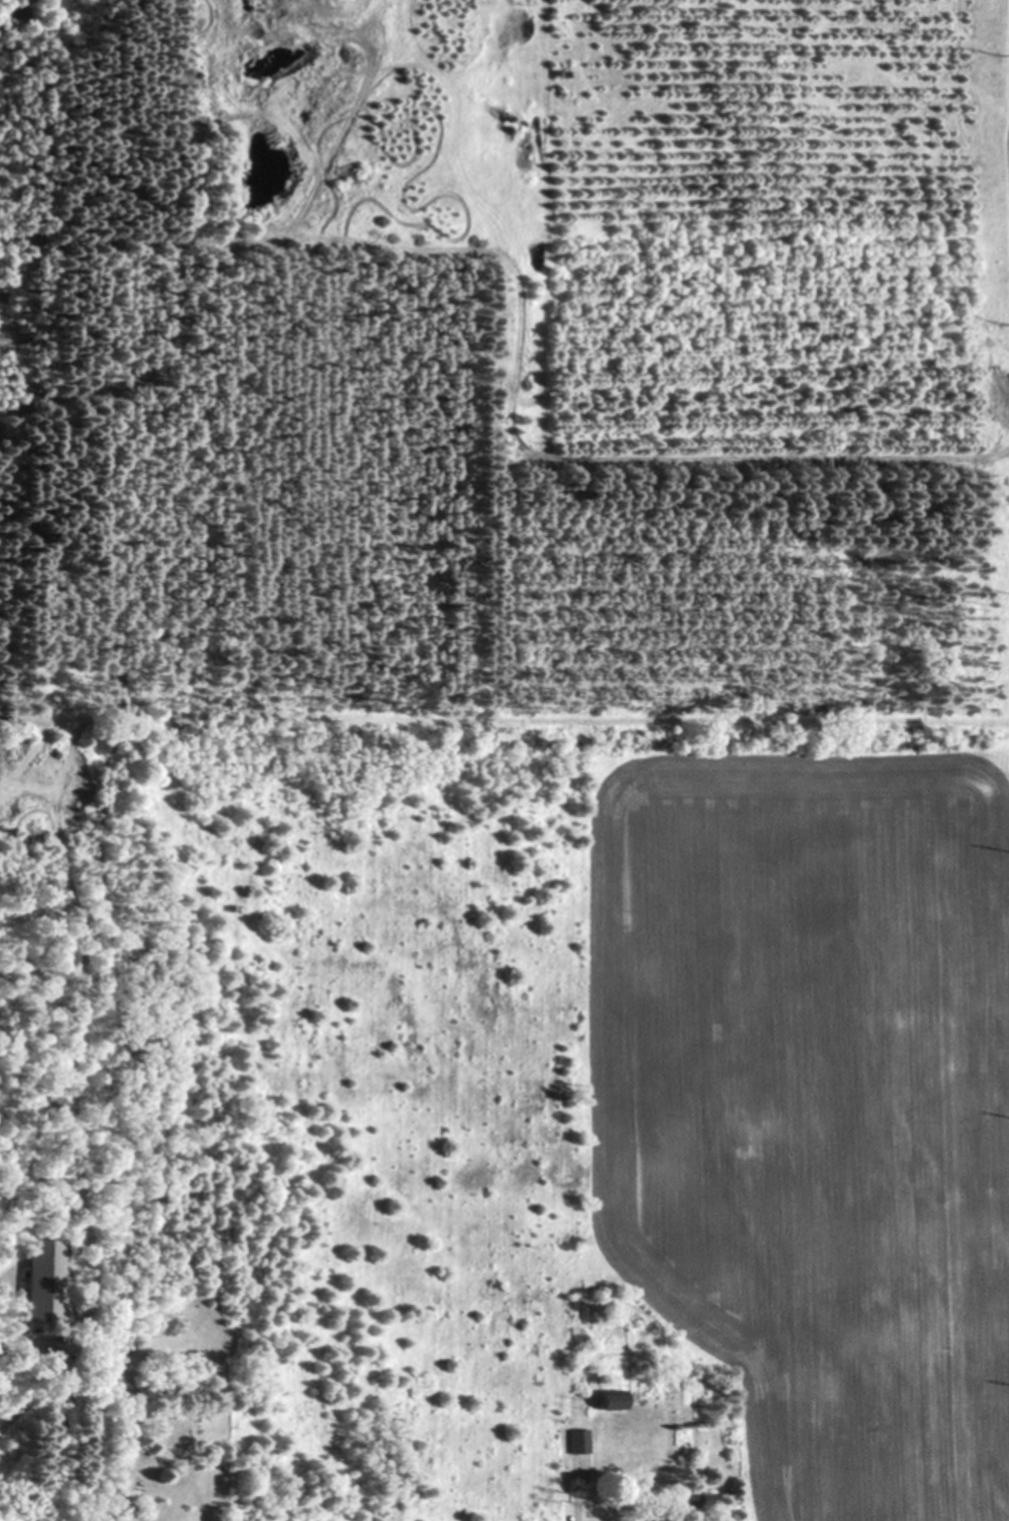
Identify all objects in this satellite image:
power tower: (1000, 56)
power tower: (1008, 322)
building: (43, 1281)
building: (610, 1399)
building: (579, 1440)

